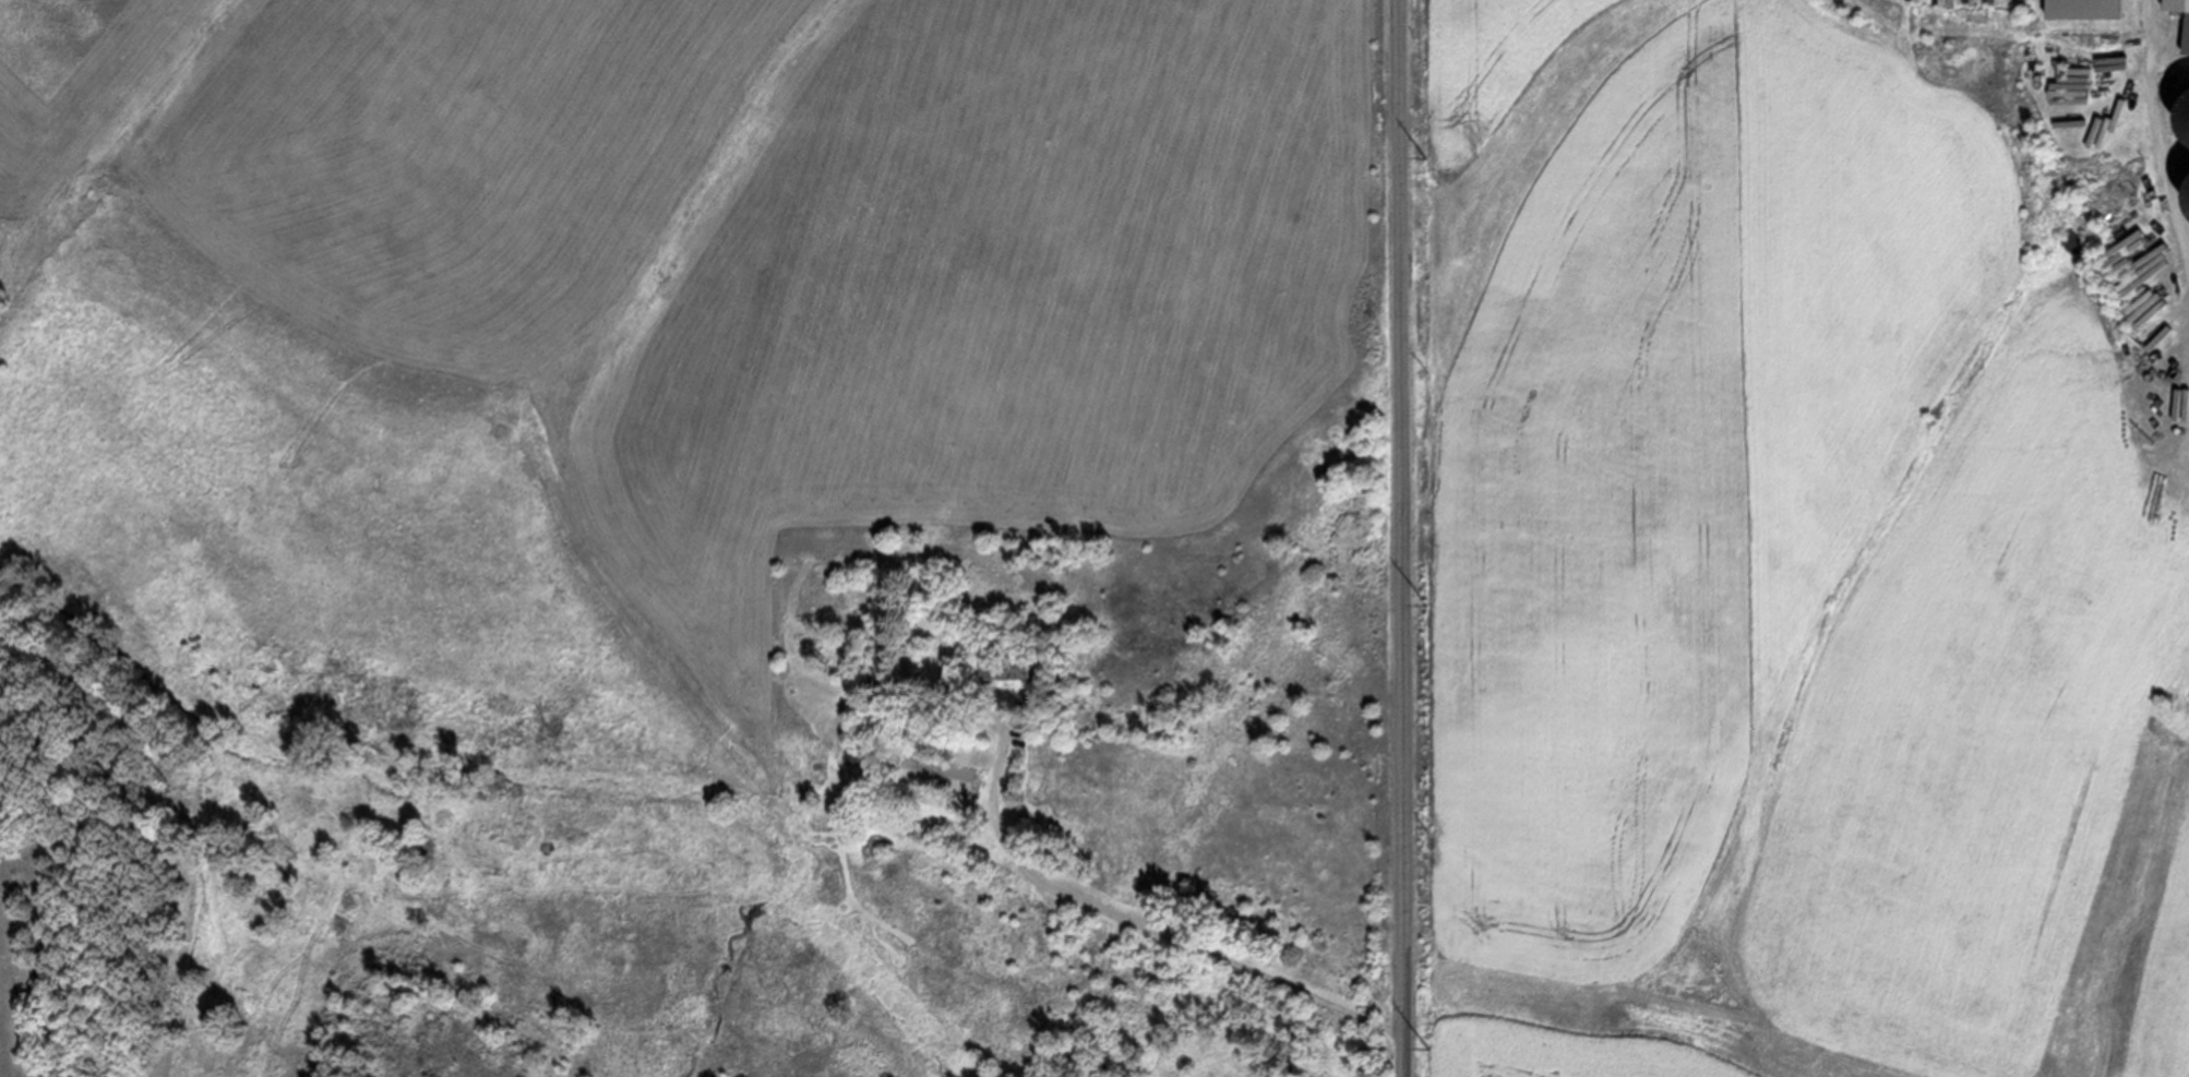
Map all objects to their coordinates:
building: (2085, 9)
building: (2187, 33)
building: (2186, 120)
road: (2163, 131)
building: (2186, 188)
road: (1403, 538)
building: (1007, 666)
building: (861, 752)
building: (941, 775)
road: (1141, 924)

